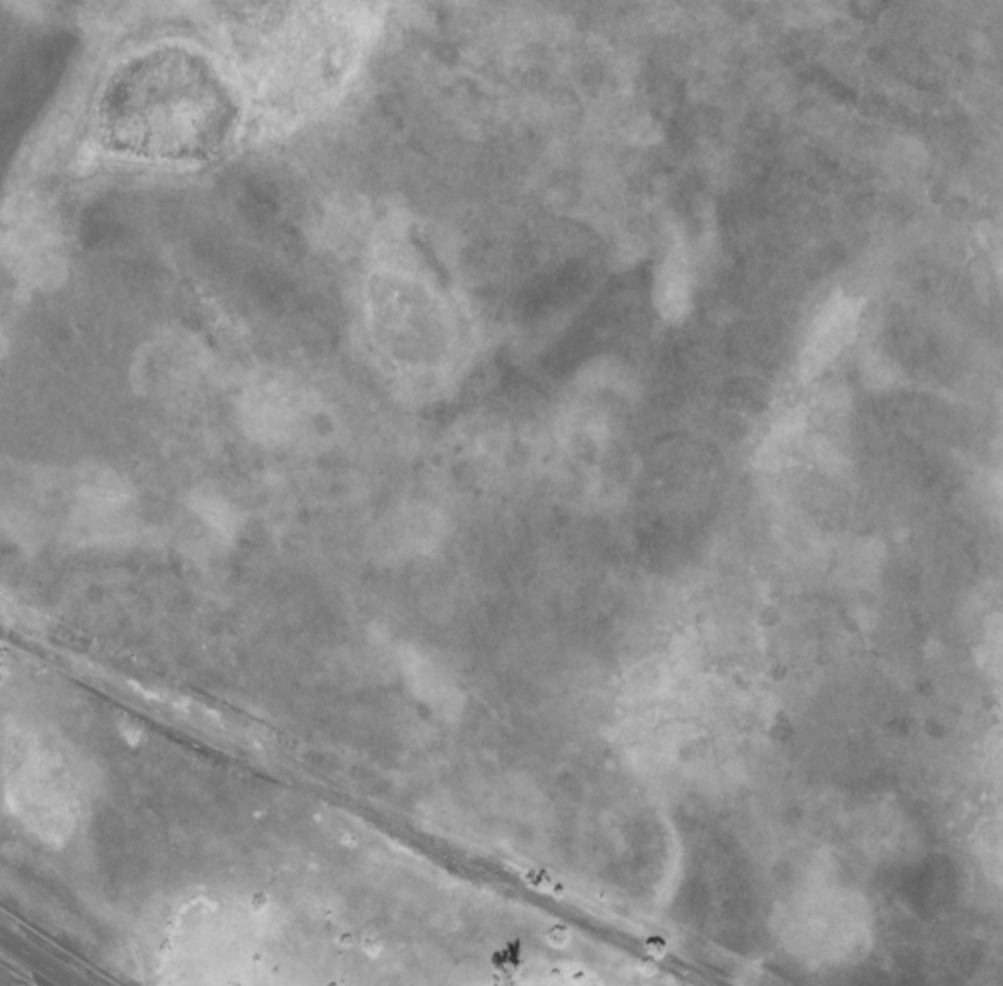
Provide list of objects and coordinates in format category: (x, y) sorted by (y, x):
road: (43, 957)

